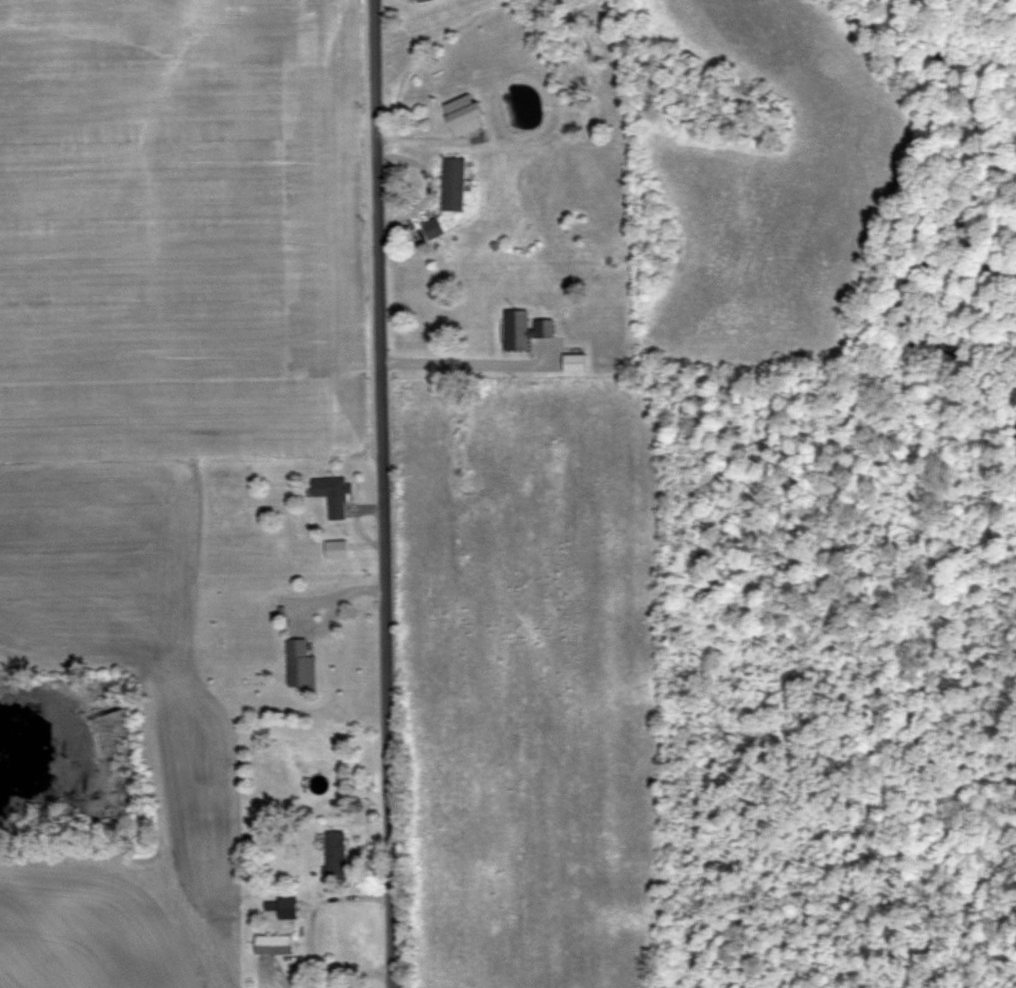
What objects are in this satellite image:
building: (467, 111)
building: (454, 184)
building: (426, 232)
building: (524, 330)
road: (467, 357)
building: (615, 360)
building: (574, 362)
road: (382, 493)
building: (333, 494)
building: (301, 663)
building: (318, 784)
building: (335, 856)
road: (345, 897)
building: (283, 908)
building: (273, 945)

